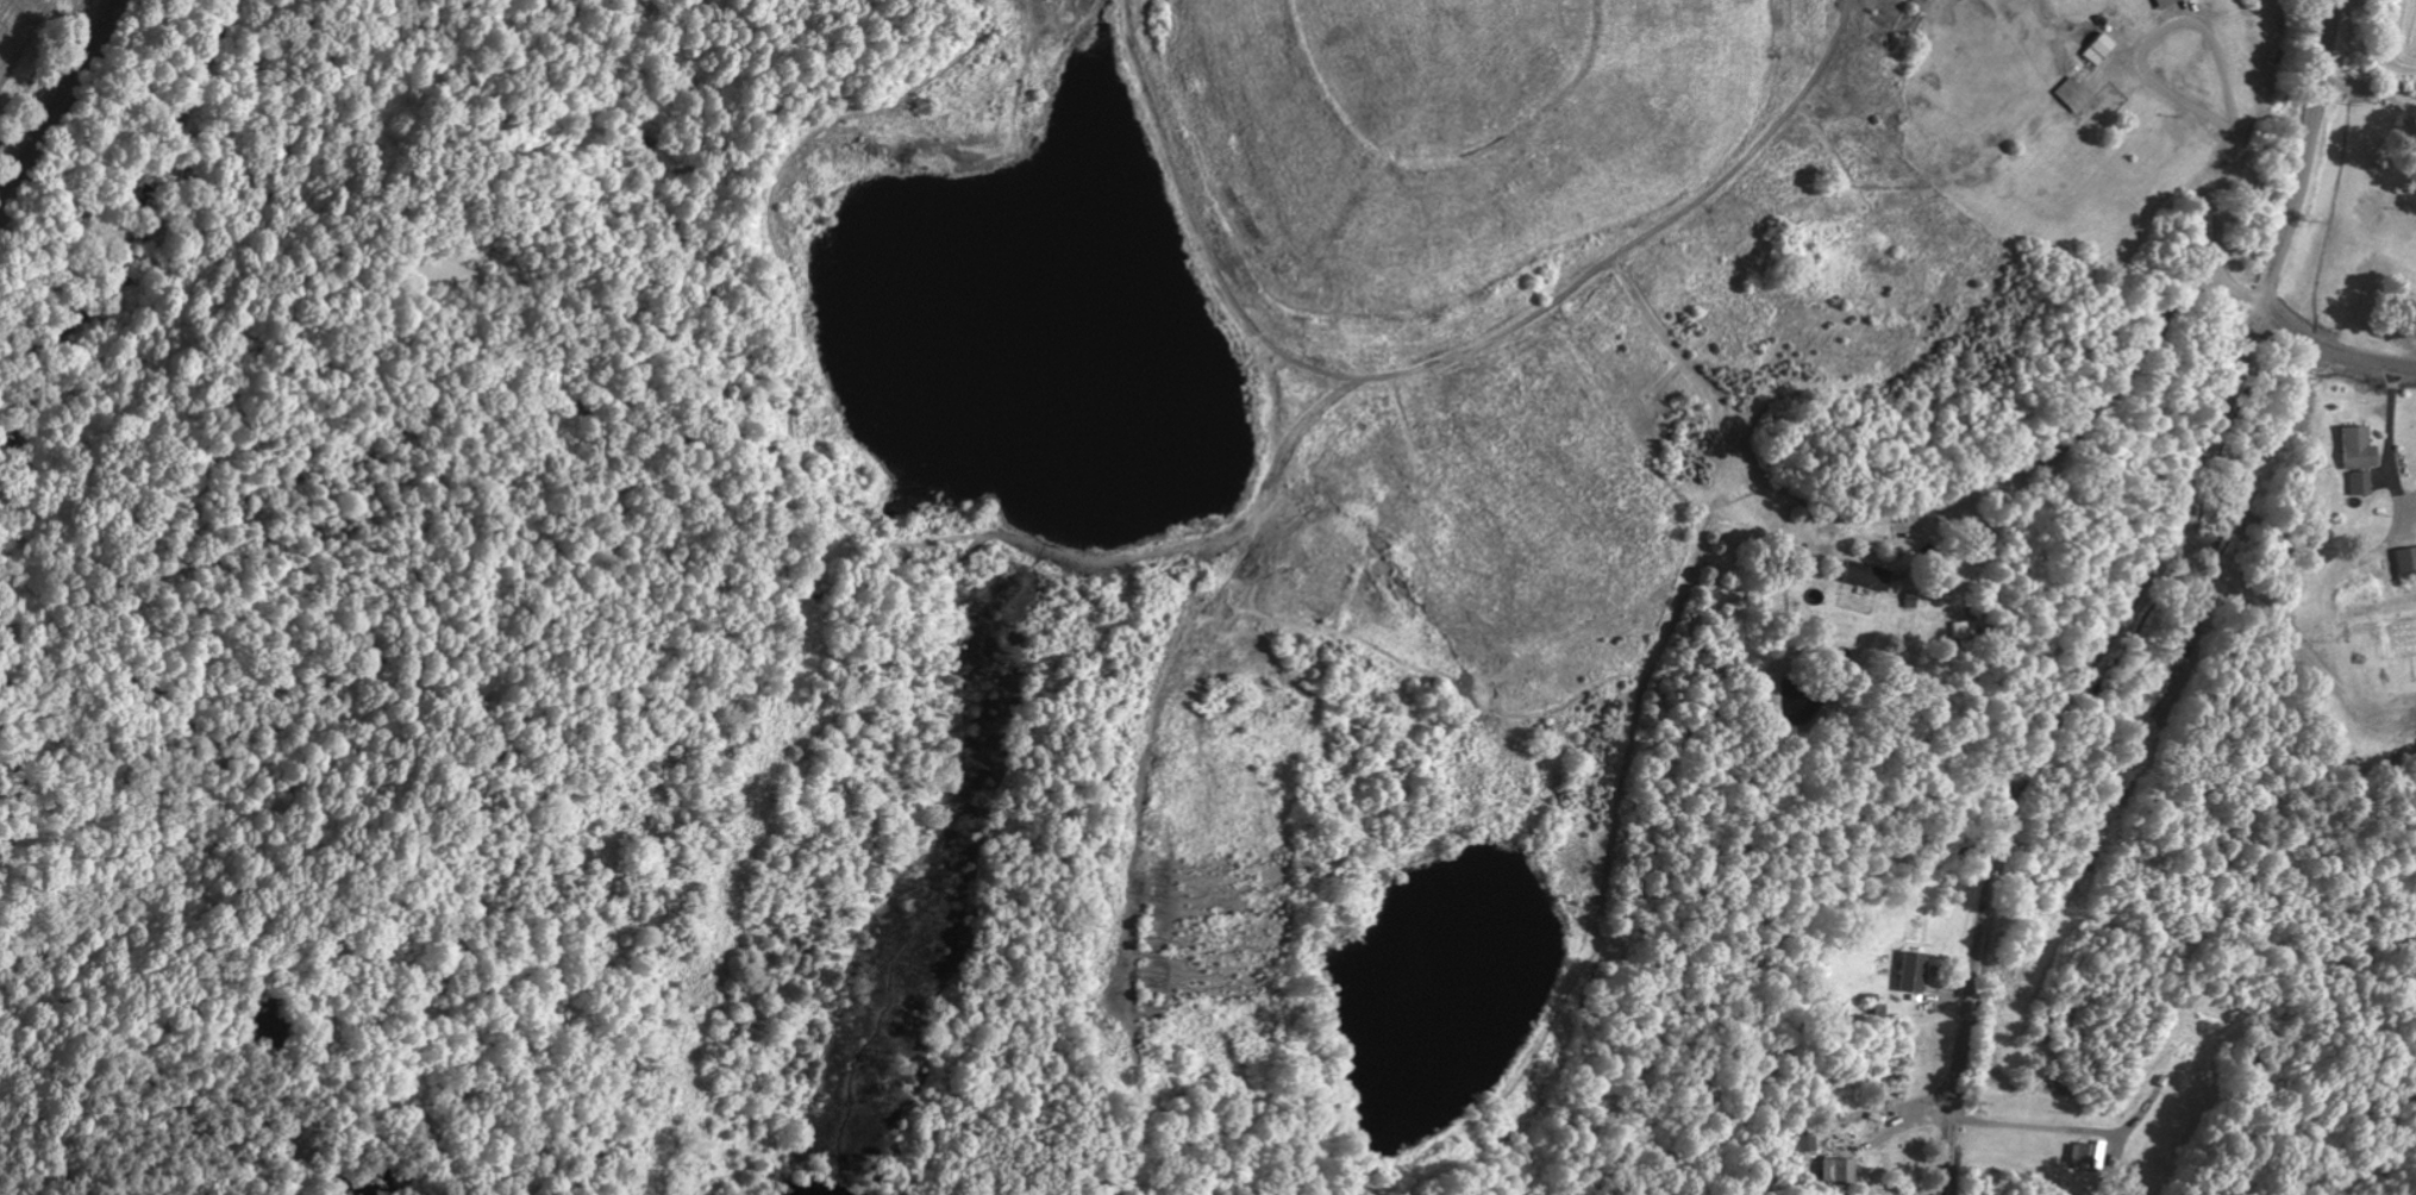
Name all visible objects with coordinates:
building: (2164, 2)
building: (2097, 48)
building: (2072, 94)
railway: (57, 100)
road: (2303, 154)
road: (2210, 175)
road: (2249, 207)
road: (2330, 350)
building: (2358, 457)
building: (2405, 561)
building: (1866, 576)
building: (1958, 630)
road: (2041, 728)
building: (1913, 972)
building: (2086, 1156)
building: (1836, 1170)

